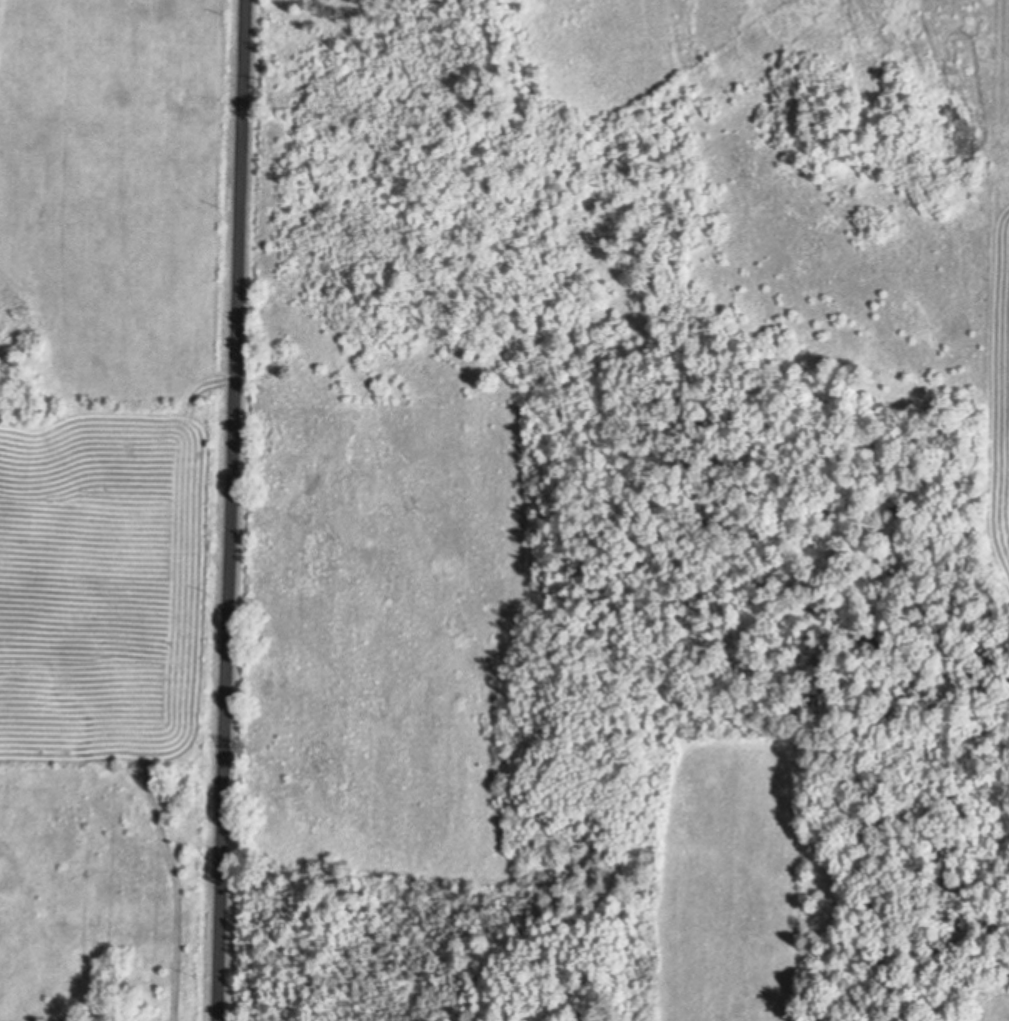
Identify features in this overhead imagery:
road: (231, 510)

